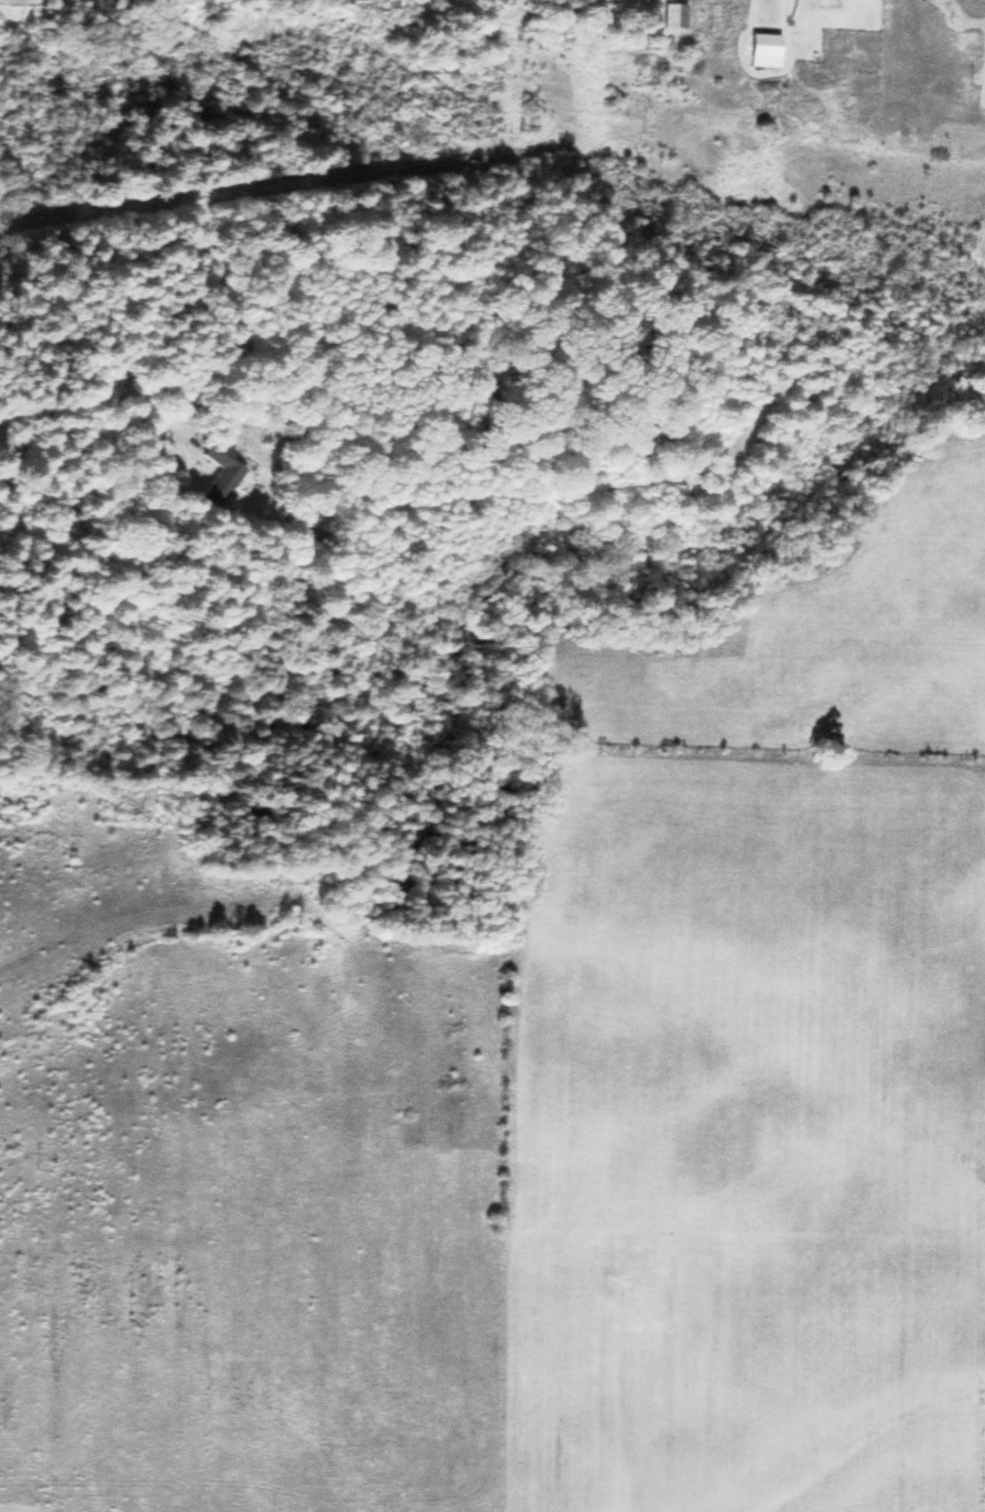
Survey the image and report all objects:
building: (670, 12)
building: (761, 47)
road: (72, 402)
building: (216, 469)

